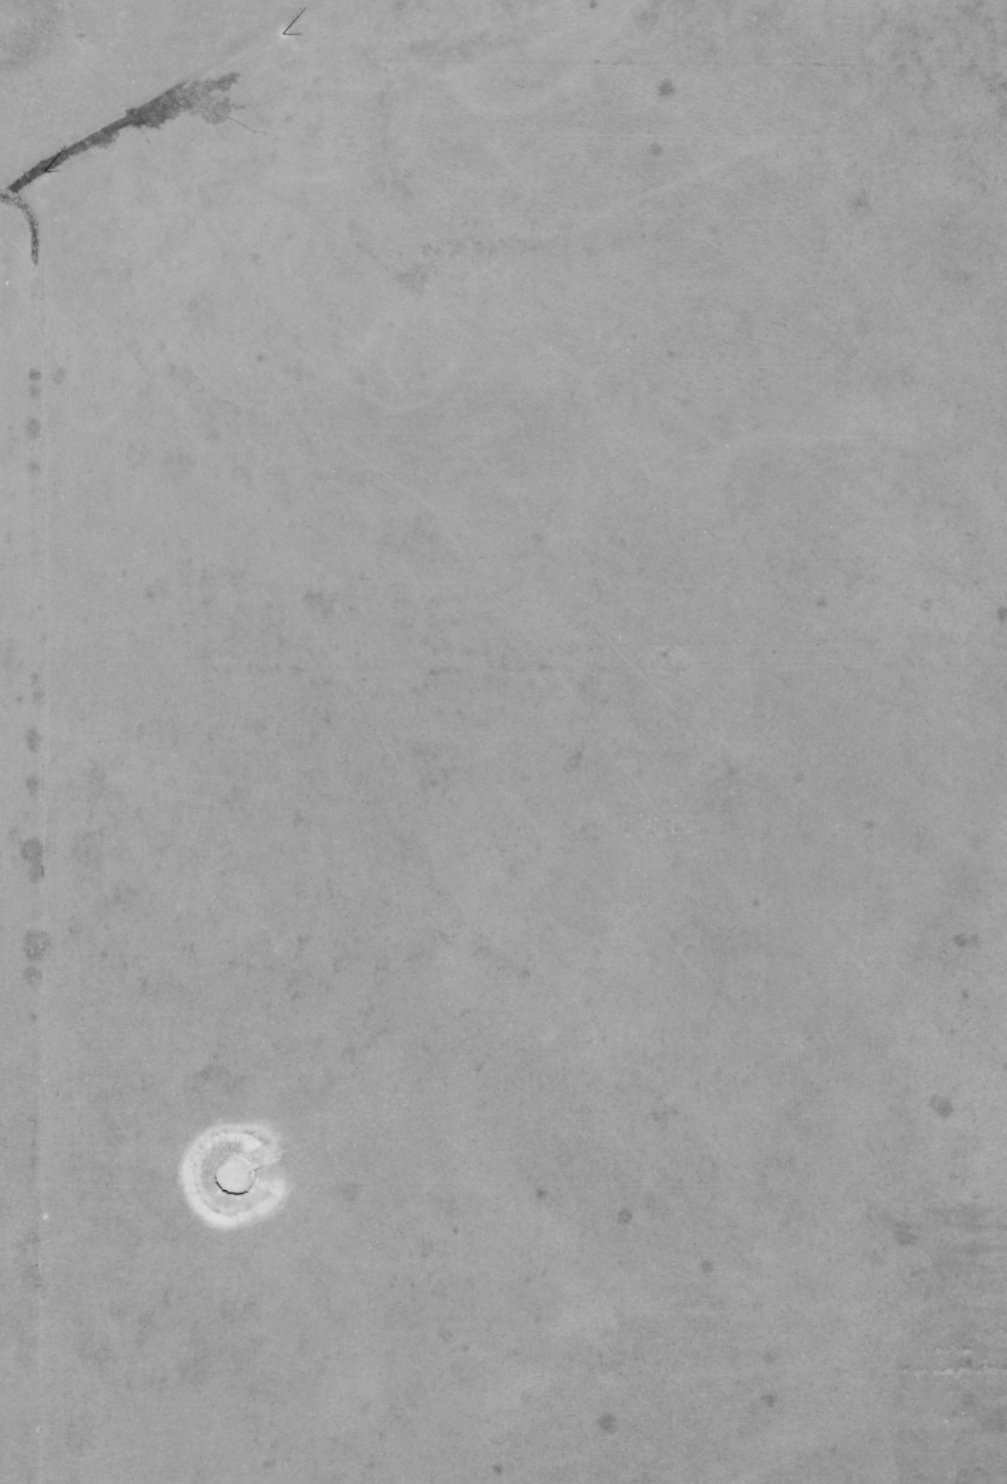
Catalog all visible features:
power tower: (131, 113)

